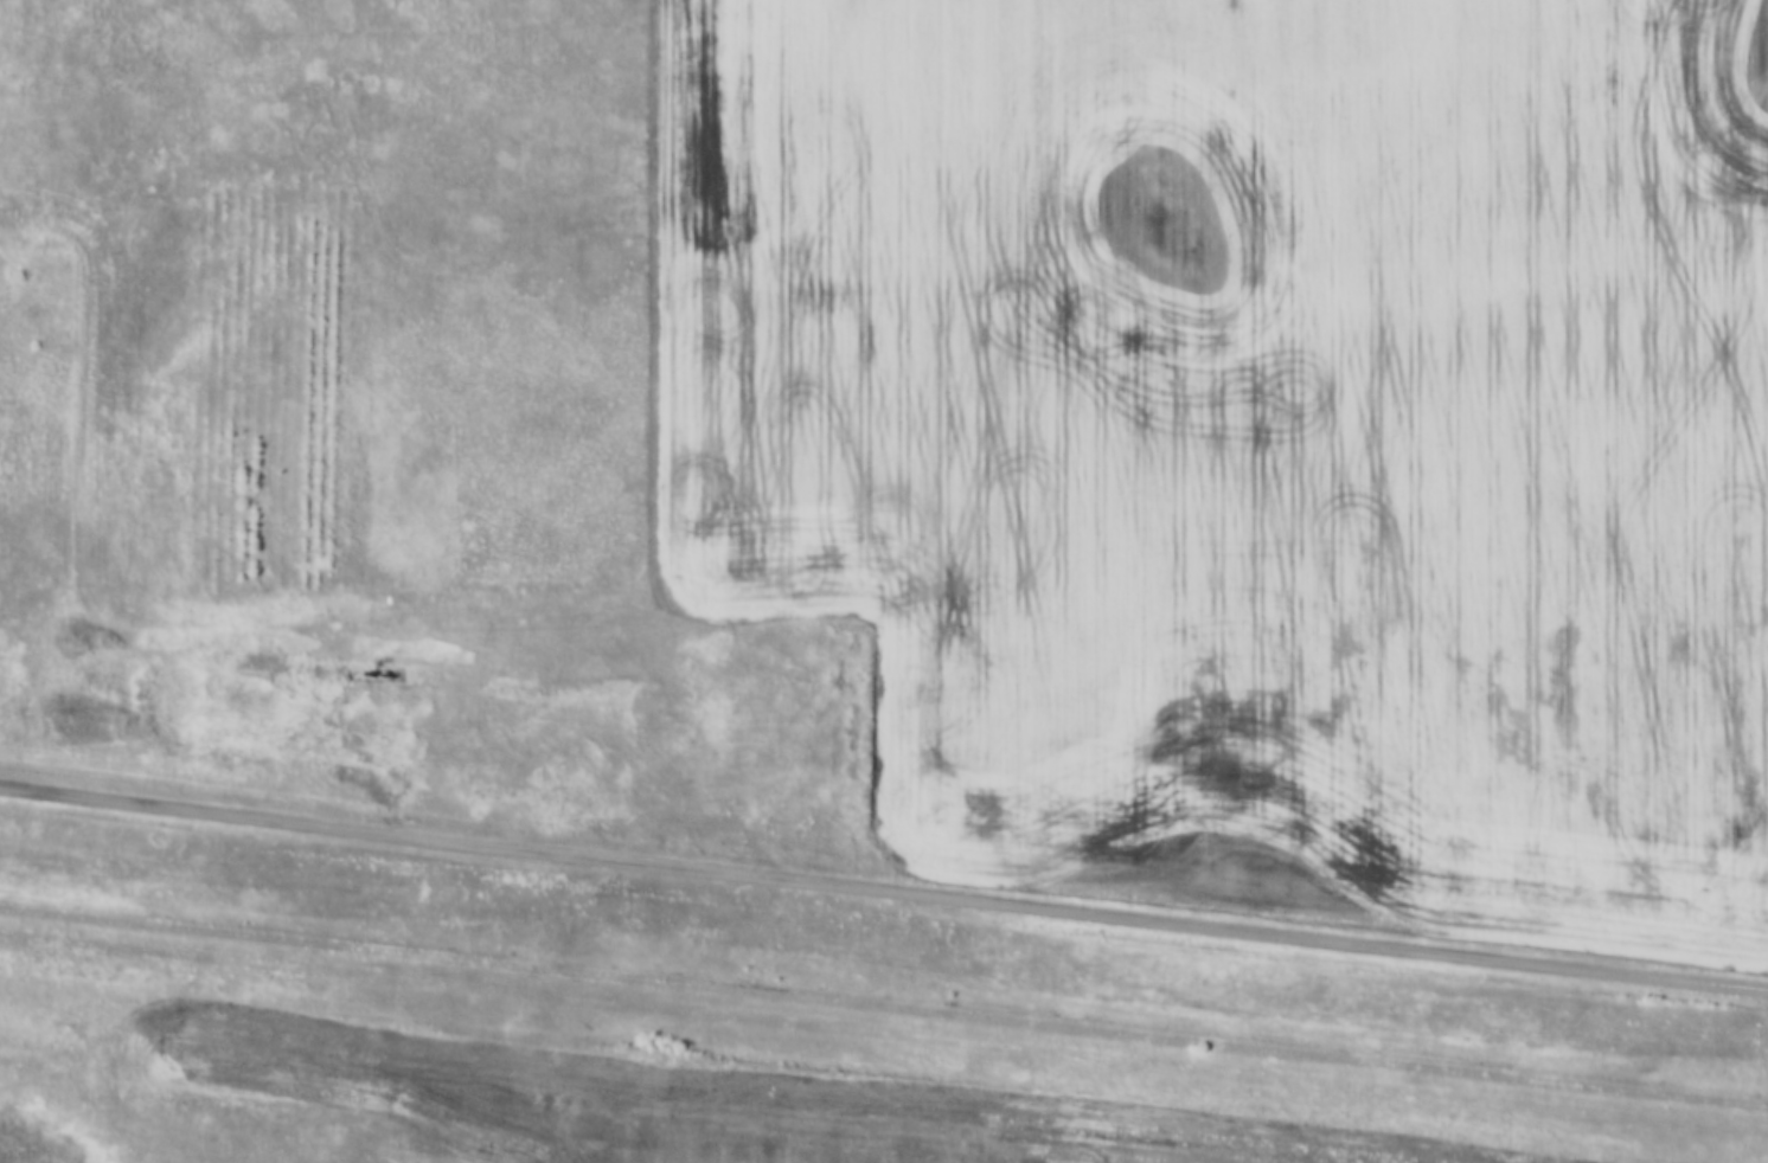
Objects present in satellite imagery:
road: (883, 881)

